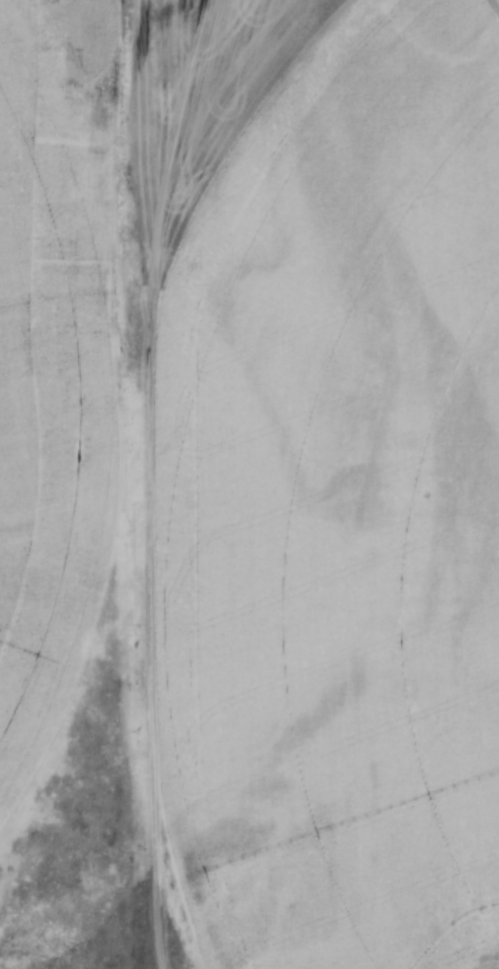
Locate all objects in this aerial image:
crop: (52, 370)
crop: (336, 503)

